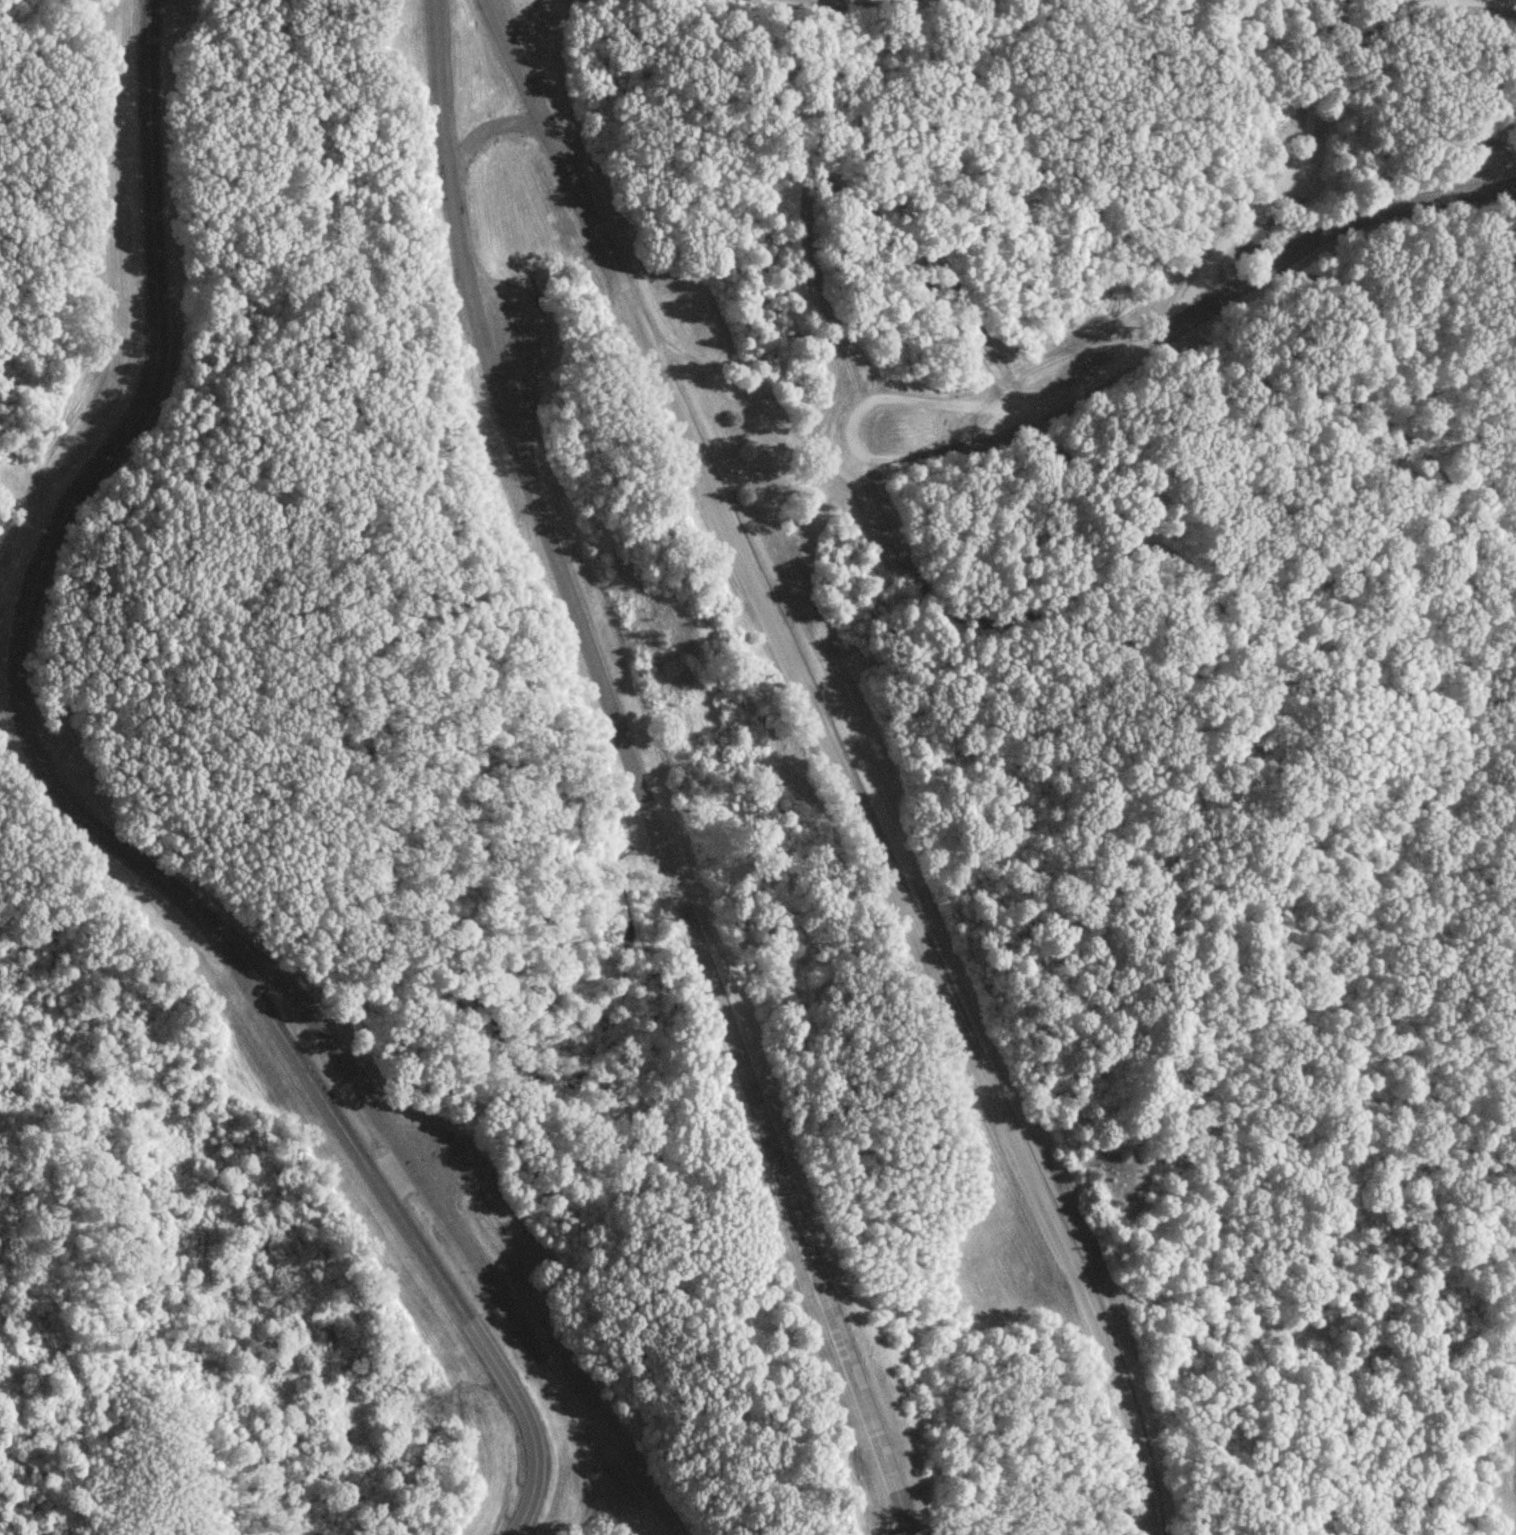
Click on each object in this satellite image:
road: (1493, 2)
road: (1304, 155)
road: (1186, 333)
road: (1399, 371)
road: (1365, 411)
road: (955, 615)
road: (833, 764)
raceway: (635, 776)
raceway: (81, 819)
road: (455, 1231)
road: (912, 1533)

